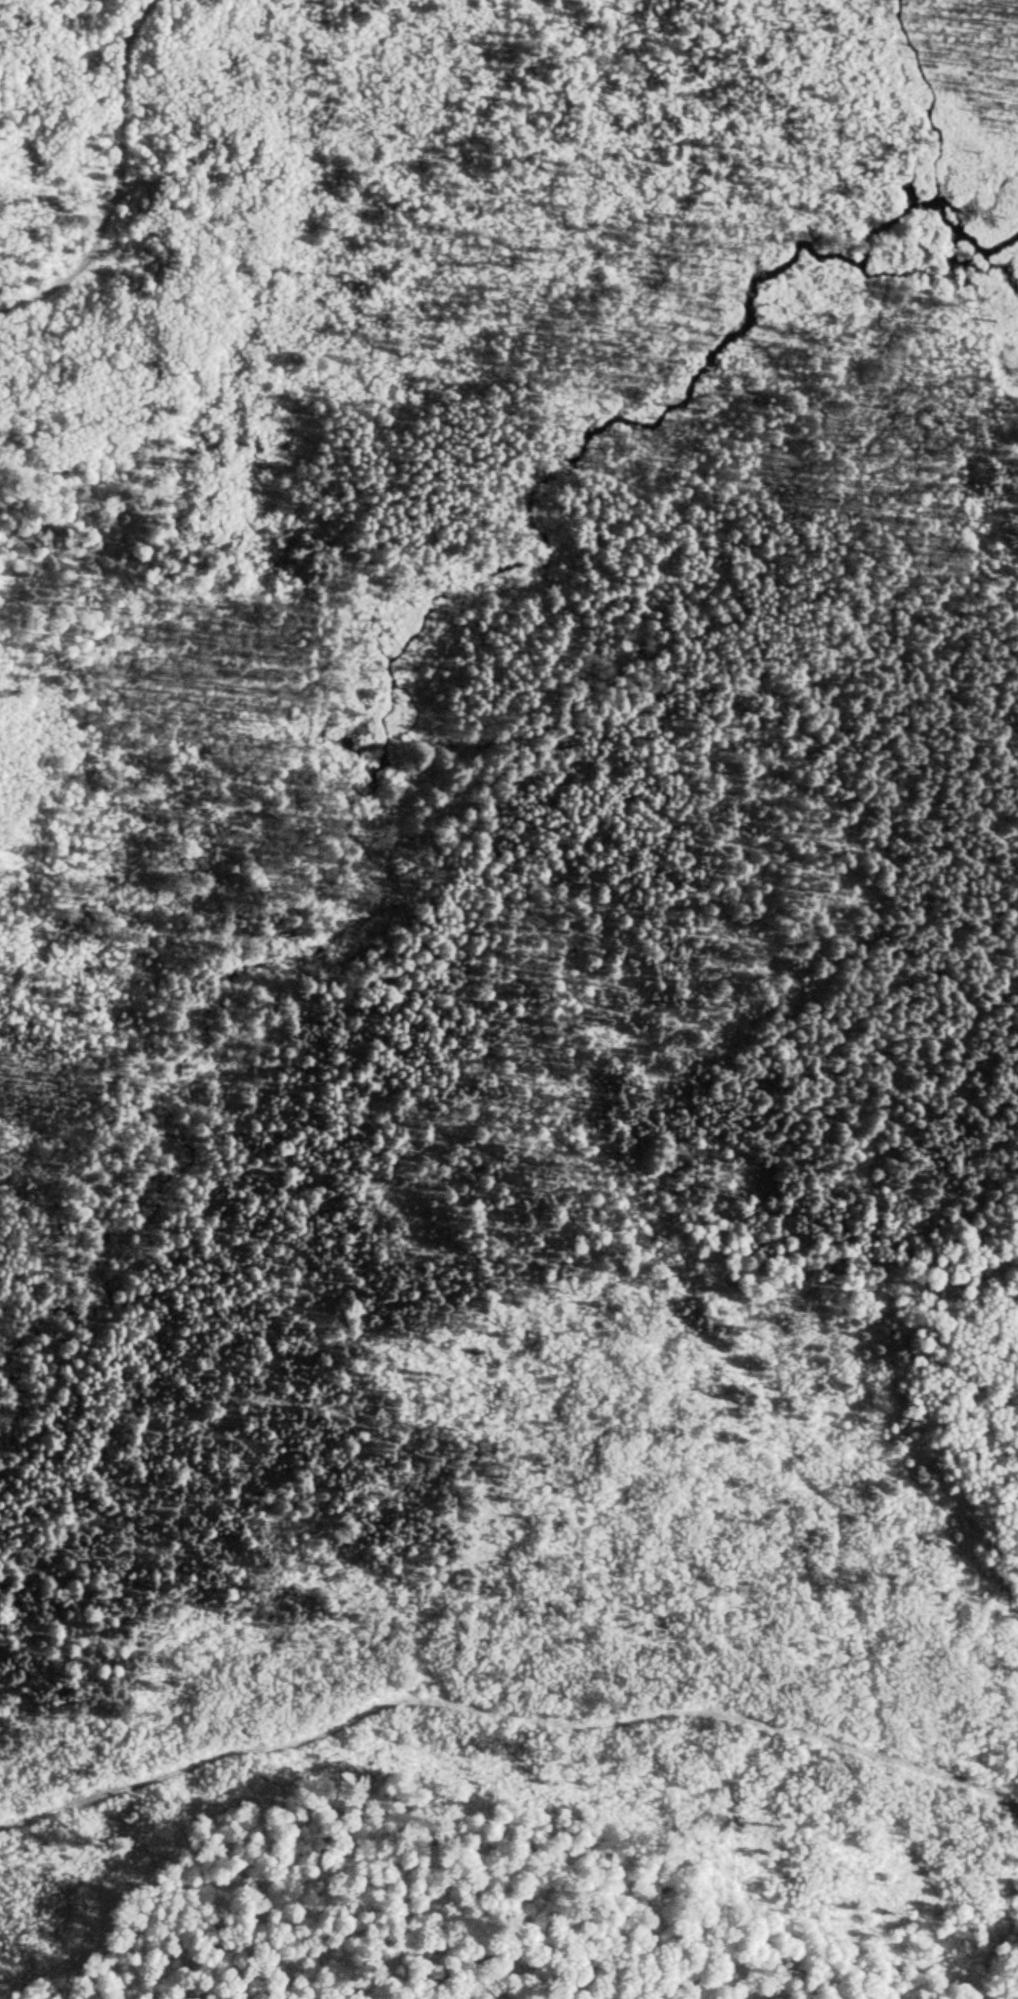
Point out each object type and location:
road: (508, 1716)

